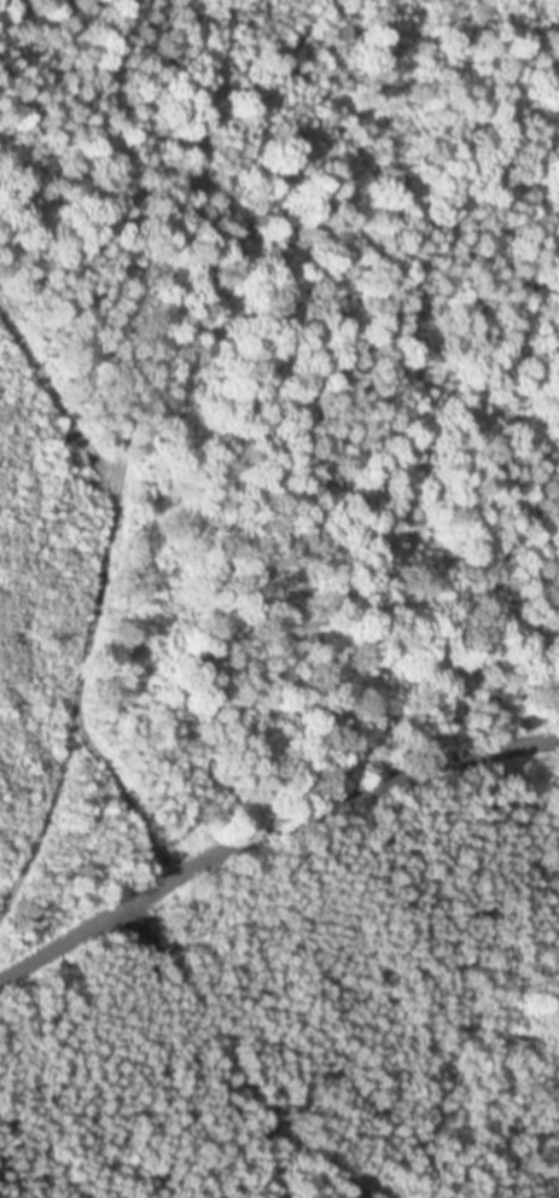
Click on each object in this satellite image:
road: (264, 828)

